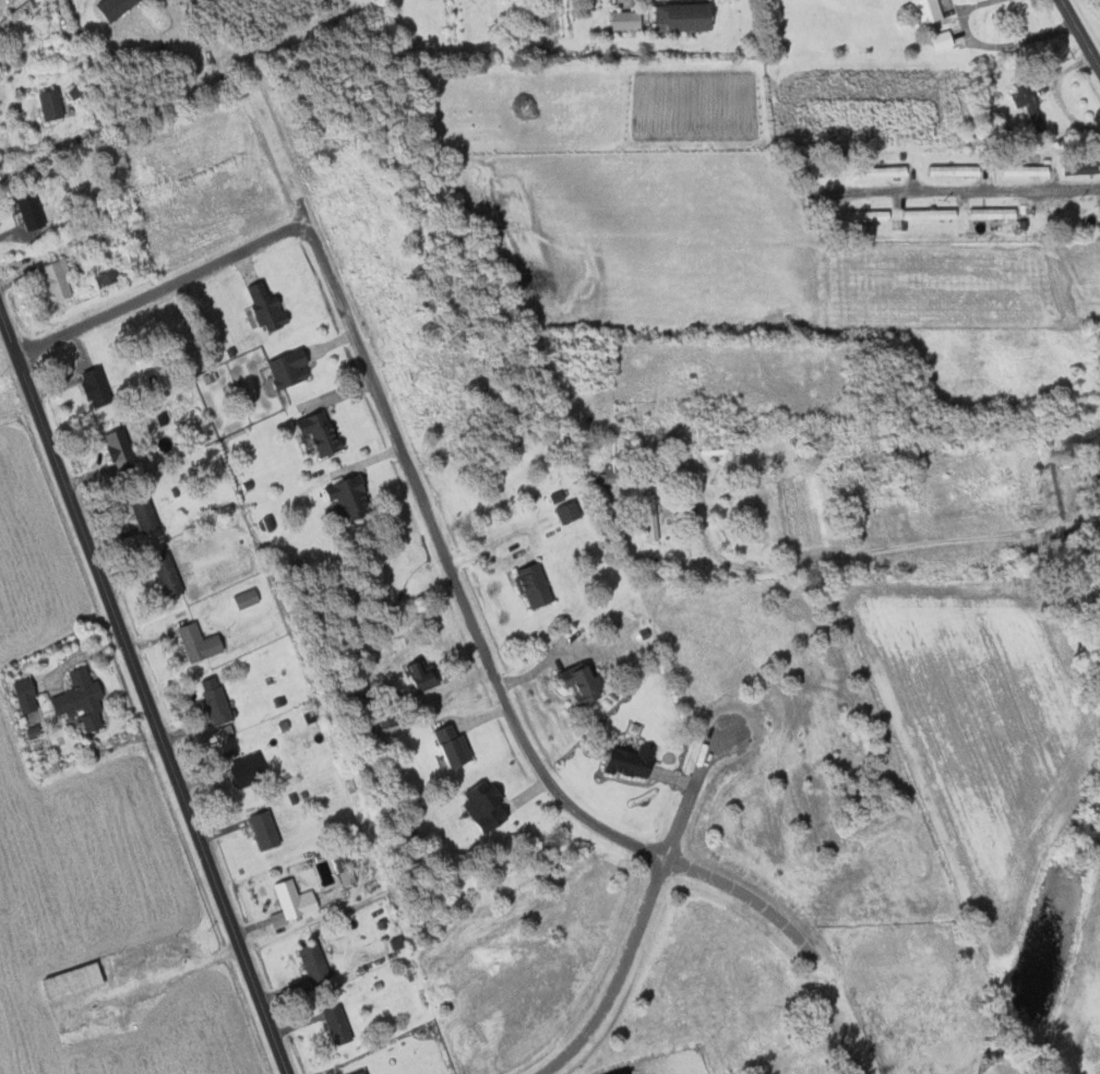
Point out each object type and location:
building: (118, 7)
building: (22, 11)
building: (923, 11)
building: (689, 16)
building: (629, 20)
road: (1081, 34)
building: (946, 39)
road: (993, 45)
building: (199, 57)
building: (220, 61)
building: (53, 105)
building: (1028, 107)
building: (1081, 167)
building: (882, 170)
building: (952, 170)
building: (1024, 170)
road: (968, 191)
building: (31, 211)
building: (1099, 211)
building: (991, 213)
building: (928, 214)
building: (861, 215)
building: (59, 281)
road: (162, 290)
building: (270, 307)
building: (291, 369)
building: (98, 387)
building: (323, 433)
building: (123, 450)
building: (351, 499)
building: (571, 511)
building: (148, 515)
building: (653, 516)
road: (955, 539)
road: (726, 561)
building: (171, 575)
building: (537, 584)
road: (458, 589)
building: (249, 597)
building: (202, 641)
building: (425, 675)
building: (585, 681)
building: (28, 694)
road: (144, 696)
building: (85, 697)
building: (218, 700)
building: (456, 744)
building: (636, 760)
building: (252, 768)
road: (698, 780)
building: (490, 804)
building: (267, 828)
building: (350, 875)
building: (296, 900)
building: (318, 963)
road: (620, 976)
building: (77, 980)
building: (340, 1024)
building: (363, 1072)

